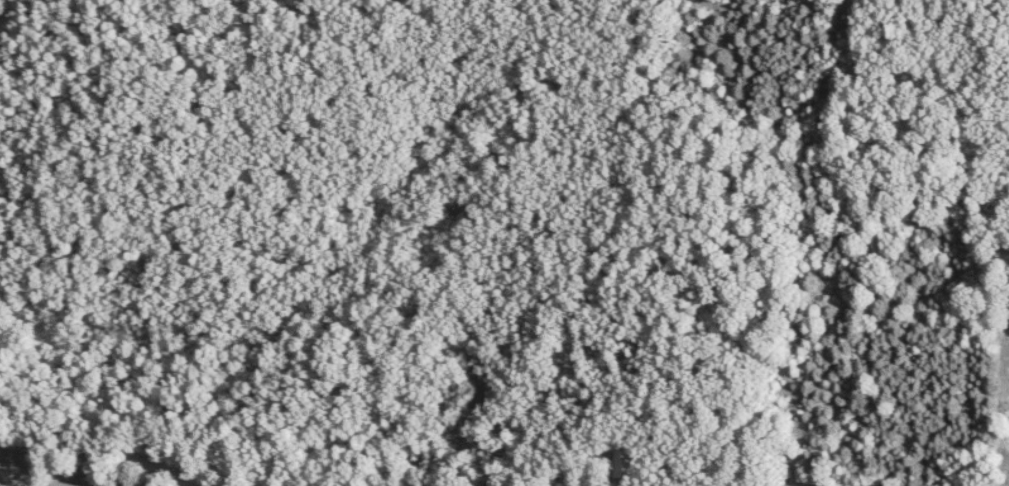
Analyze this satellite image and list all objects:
building: (623, 462)

